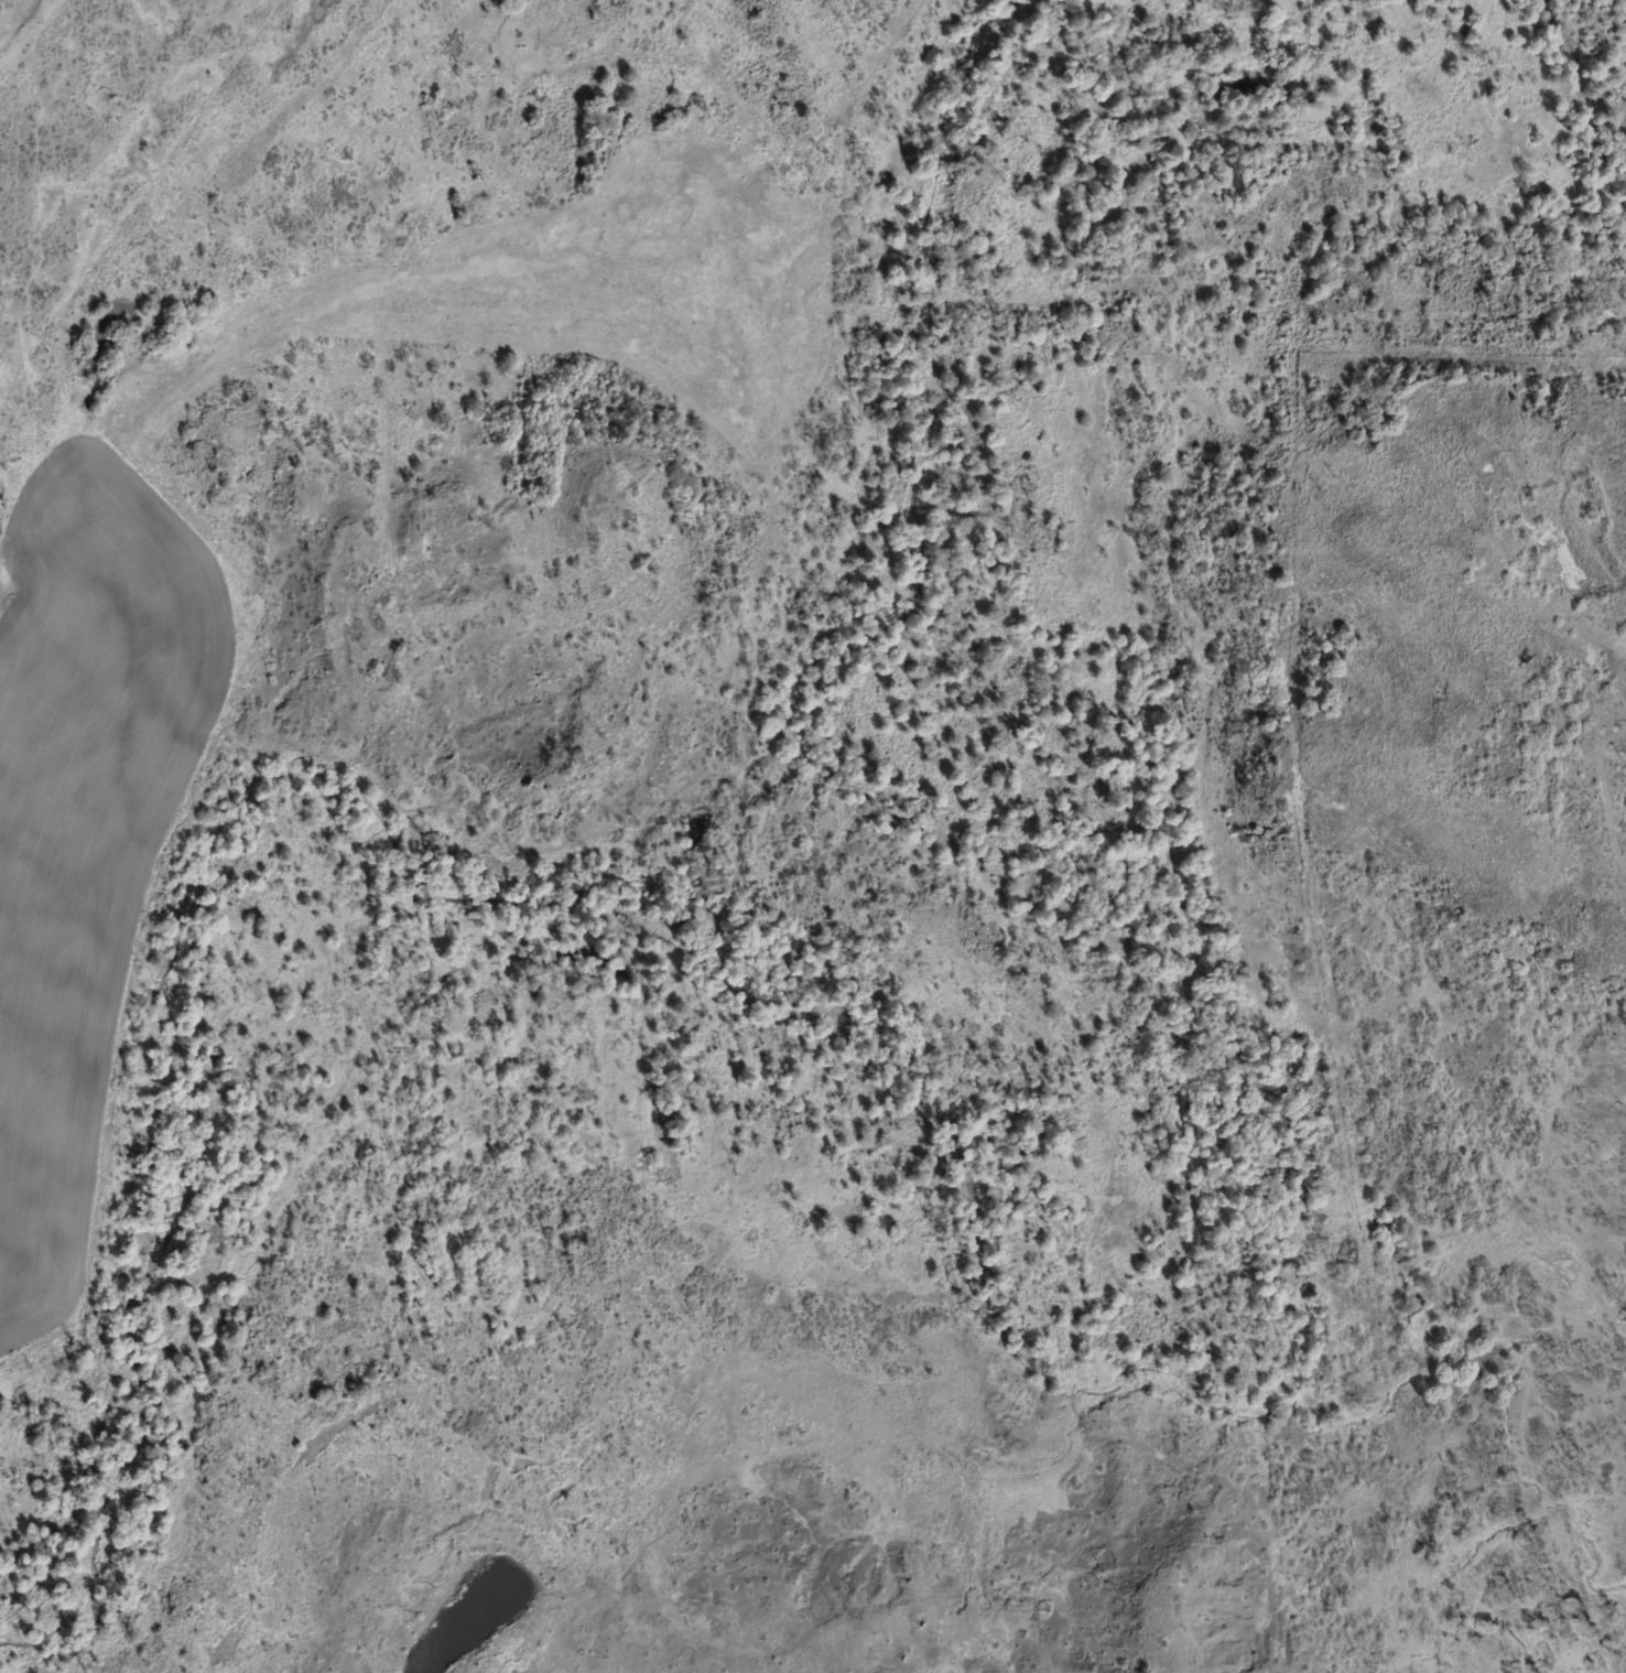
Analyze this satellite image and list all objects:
road: (469, 333)
road: (1592, 655)

